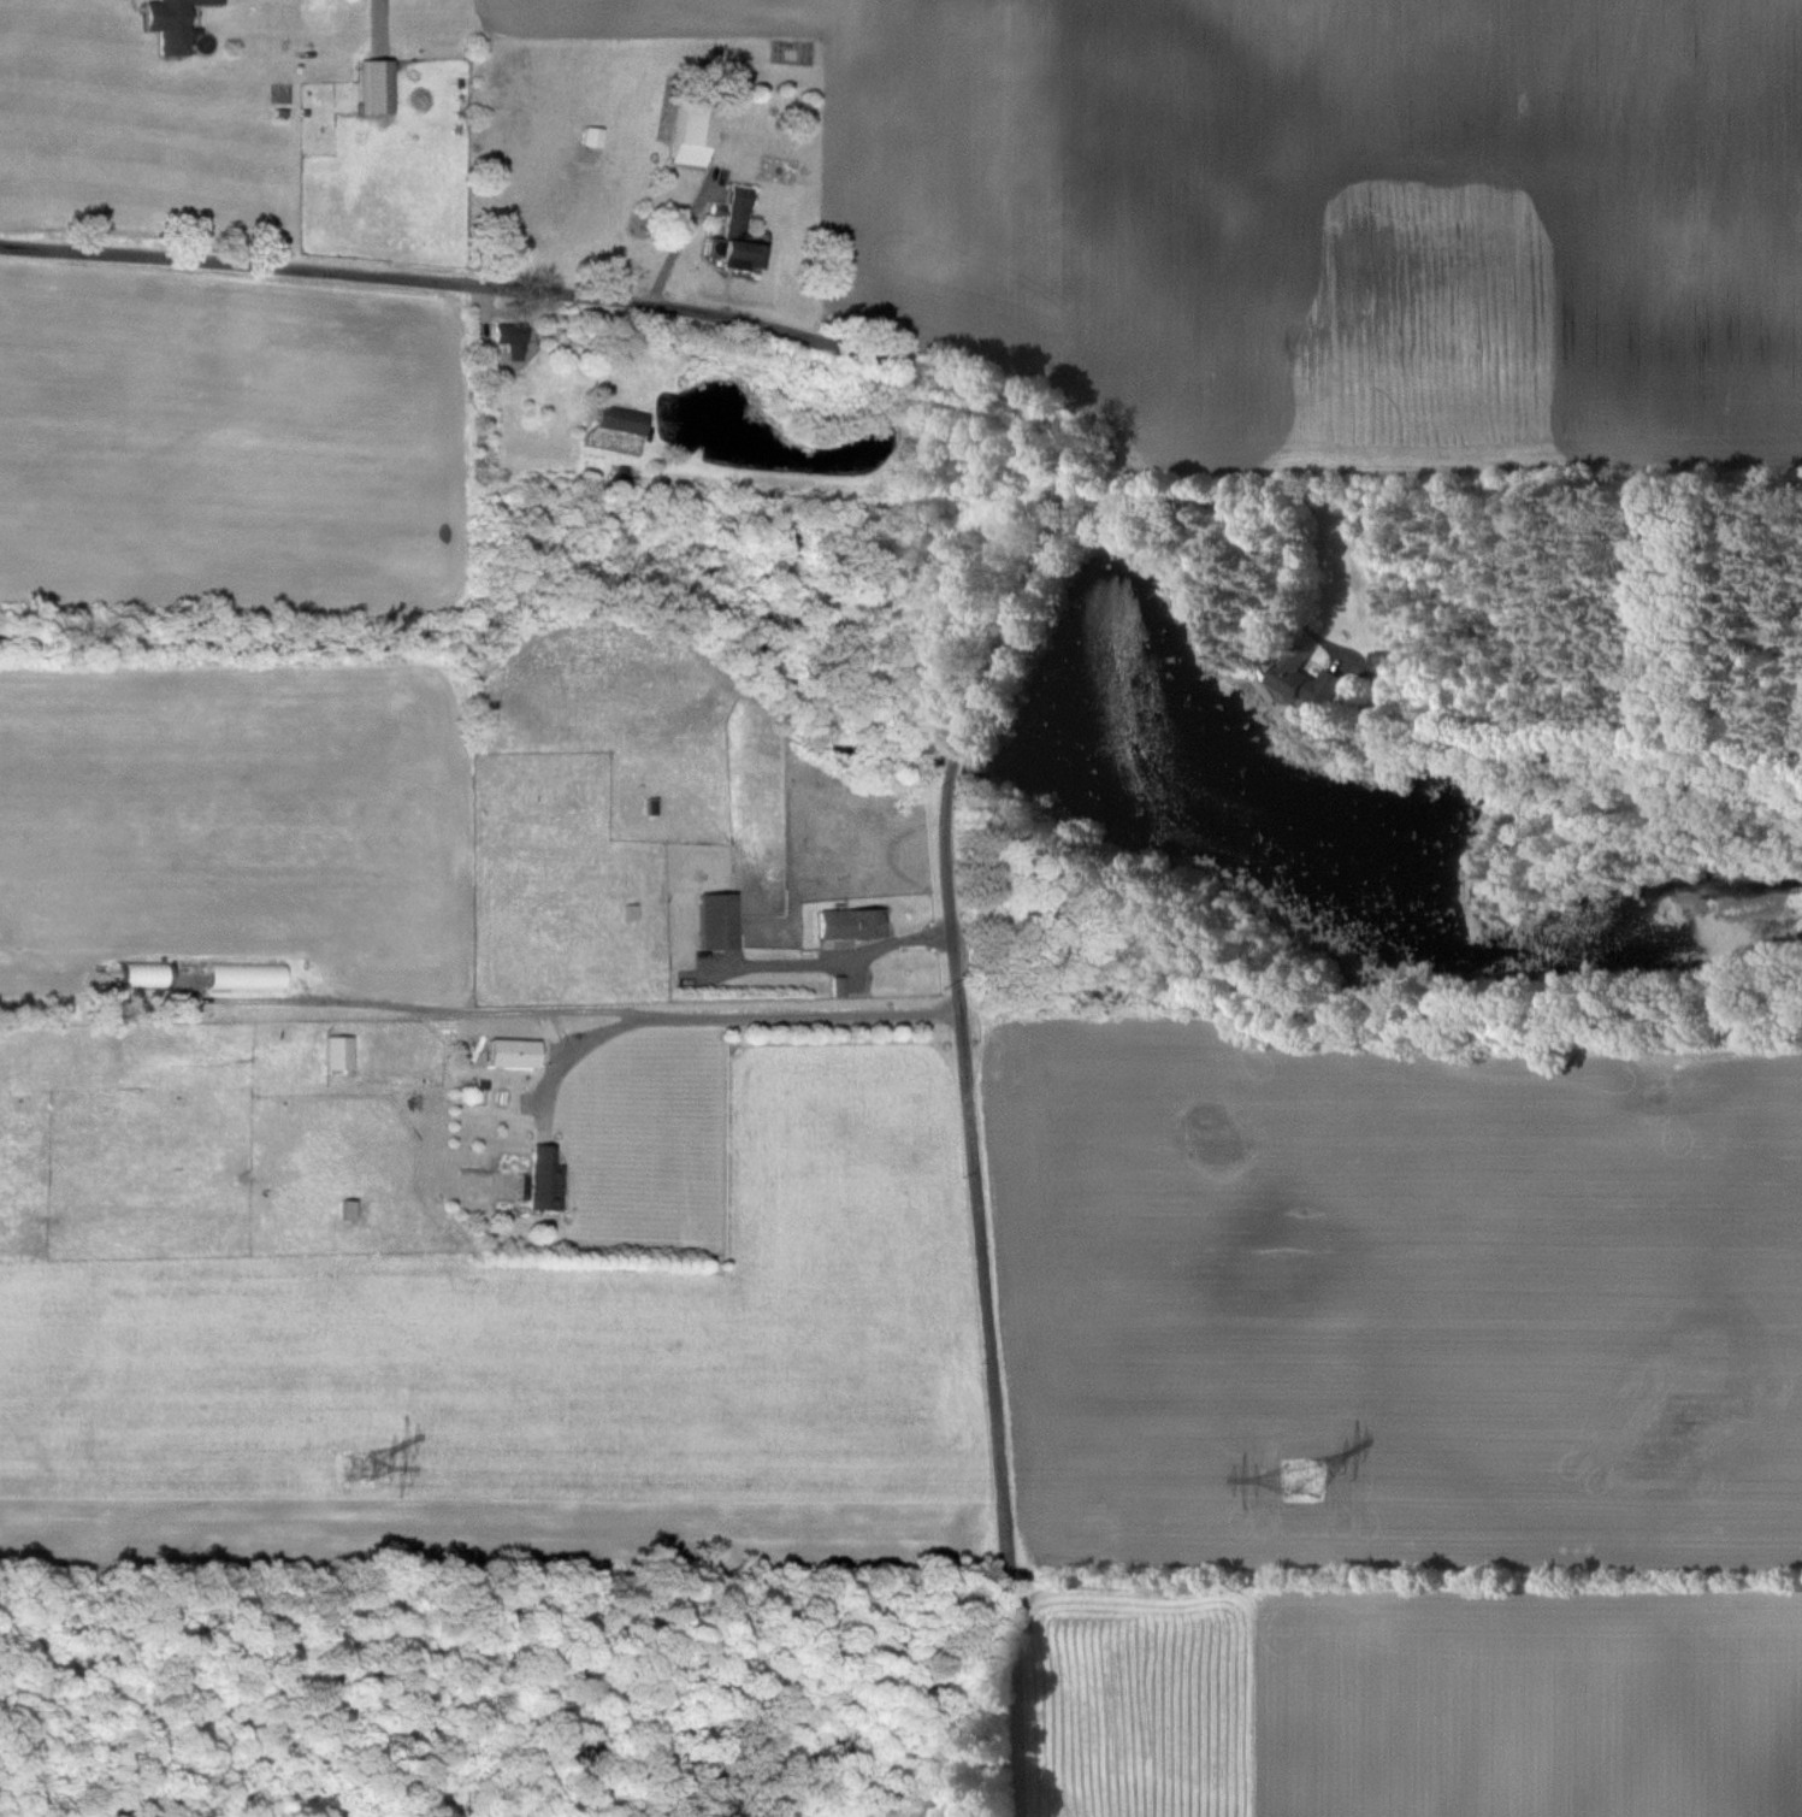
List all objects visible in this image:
building: (169, 23)
building: (374, 85)
building: (691, 129)
building: (592, 137)
building: (737, 232)
road: (680, 240)
building: (508, 338)
building: (621, 420)
road: (1237, 523)
road: (1032, 583)
building: (1378, 666)
building: (1301, 680)
building: (716, 921)
building: (861, 922)
building: (995, 952)
road: (850, 961)
road: (723, 1019)
building: (337, 1052)
building: (512, 1052)
building: (544, 1178)
power tower: (355, 1470)
power tower: (1302, 1482)

